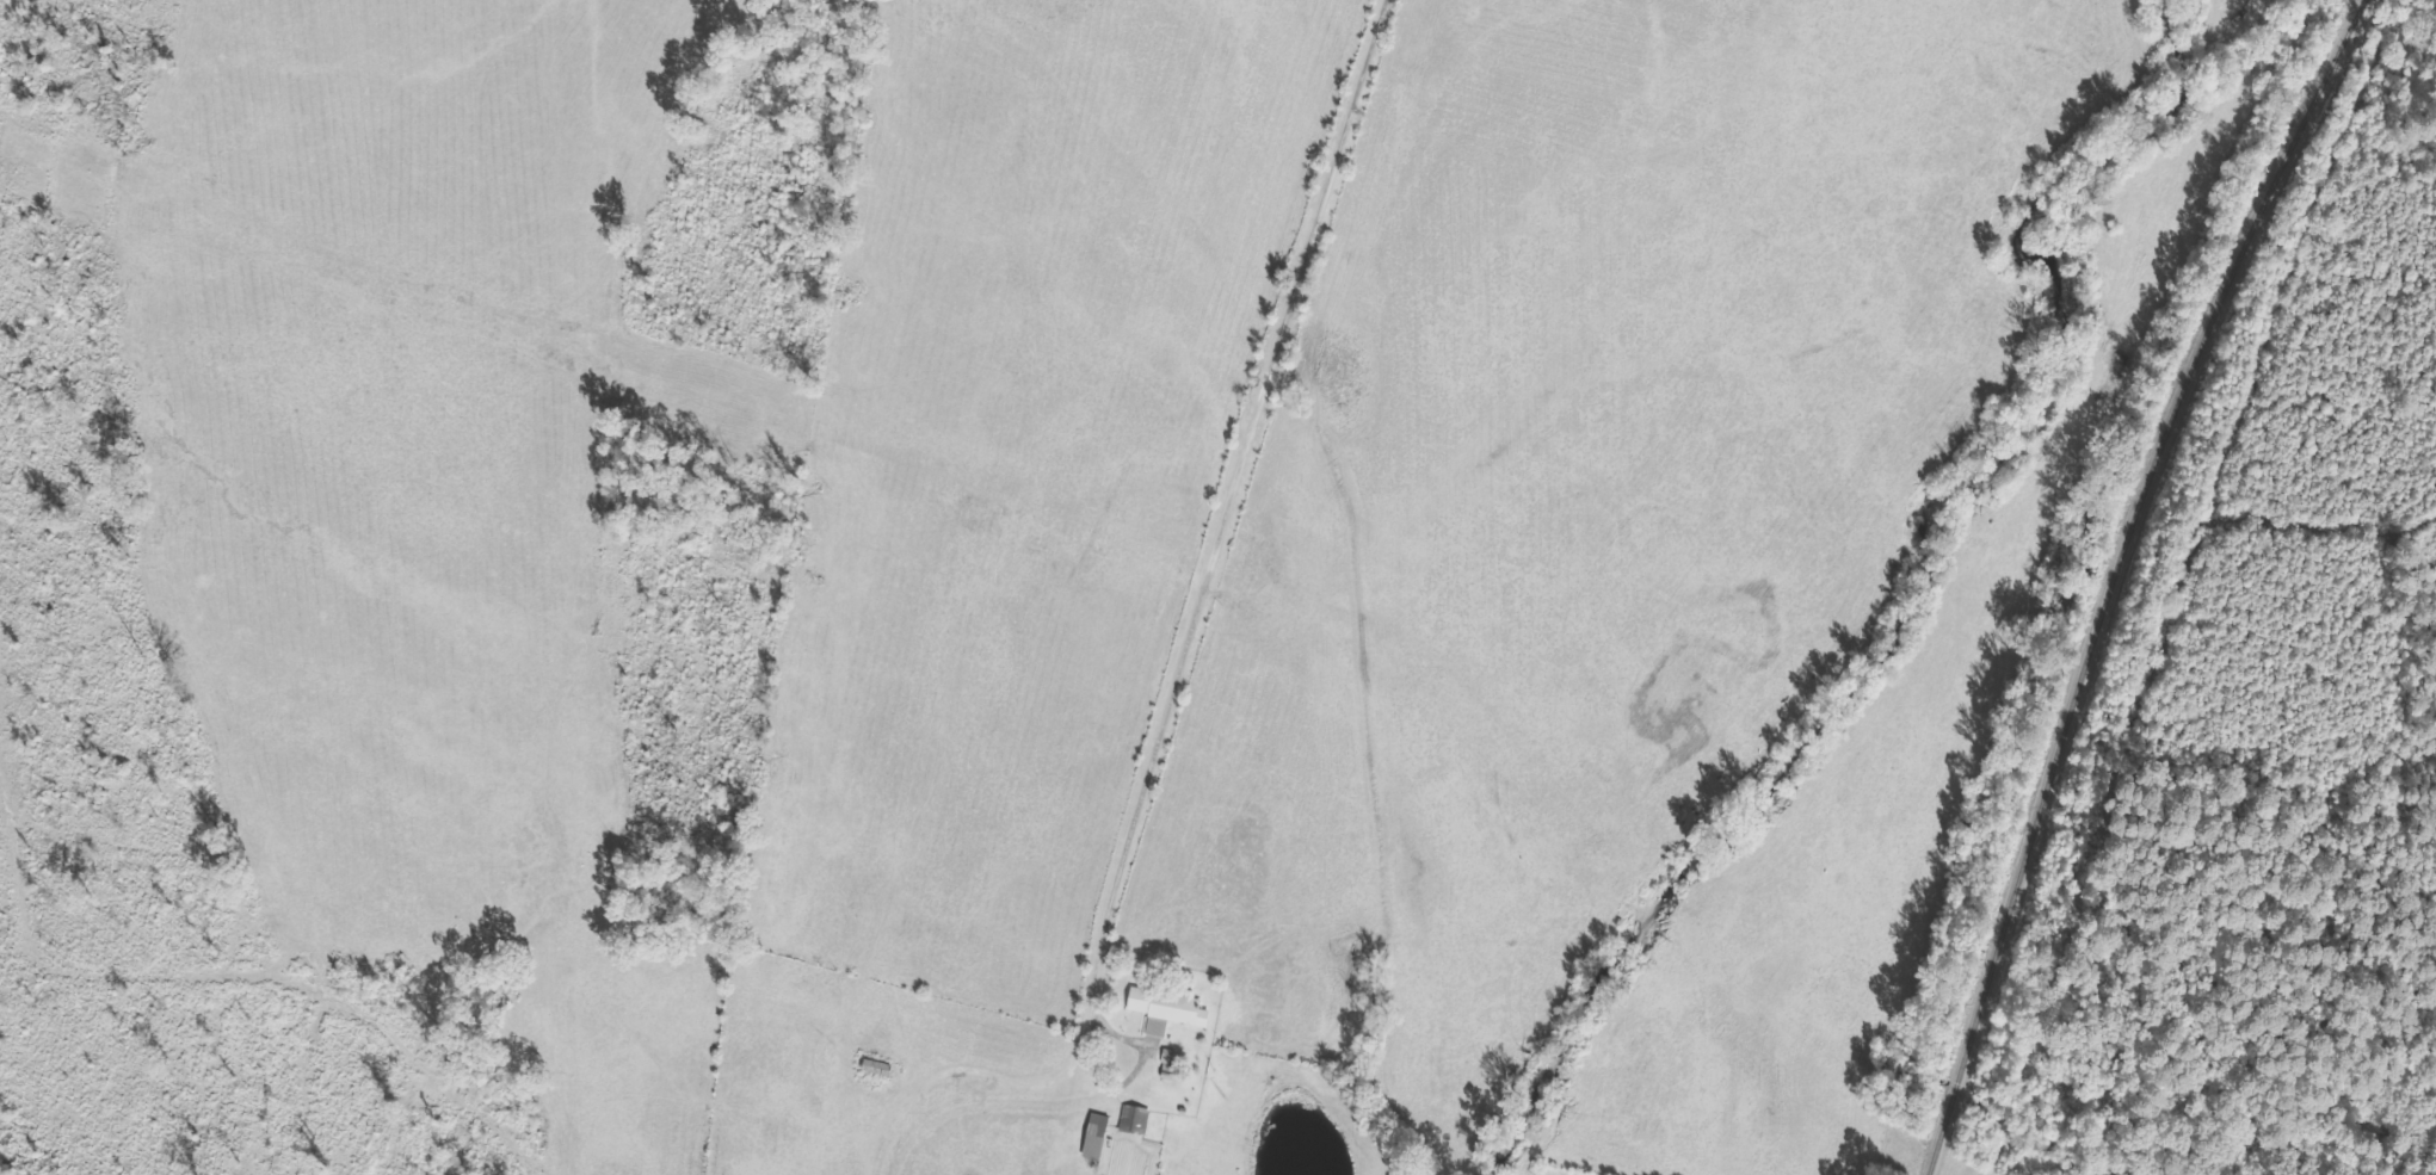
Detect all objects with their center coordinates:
railway: (2110, 575)
road: (1174, 638)
building: (1161, 1007)
building: (874, 1065)
building: (1130, 1118)
building: (1091, 1134)

